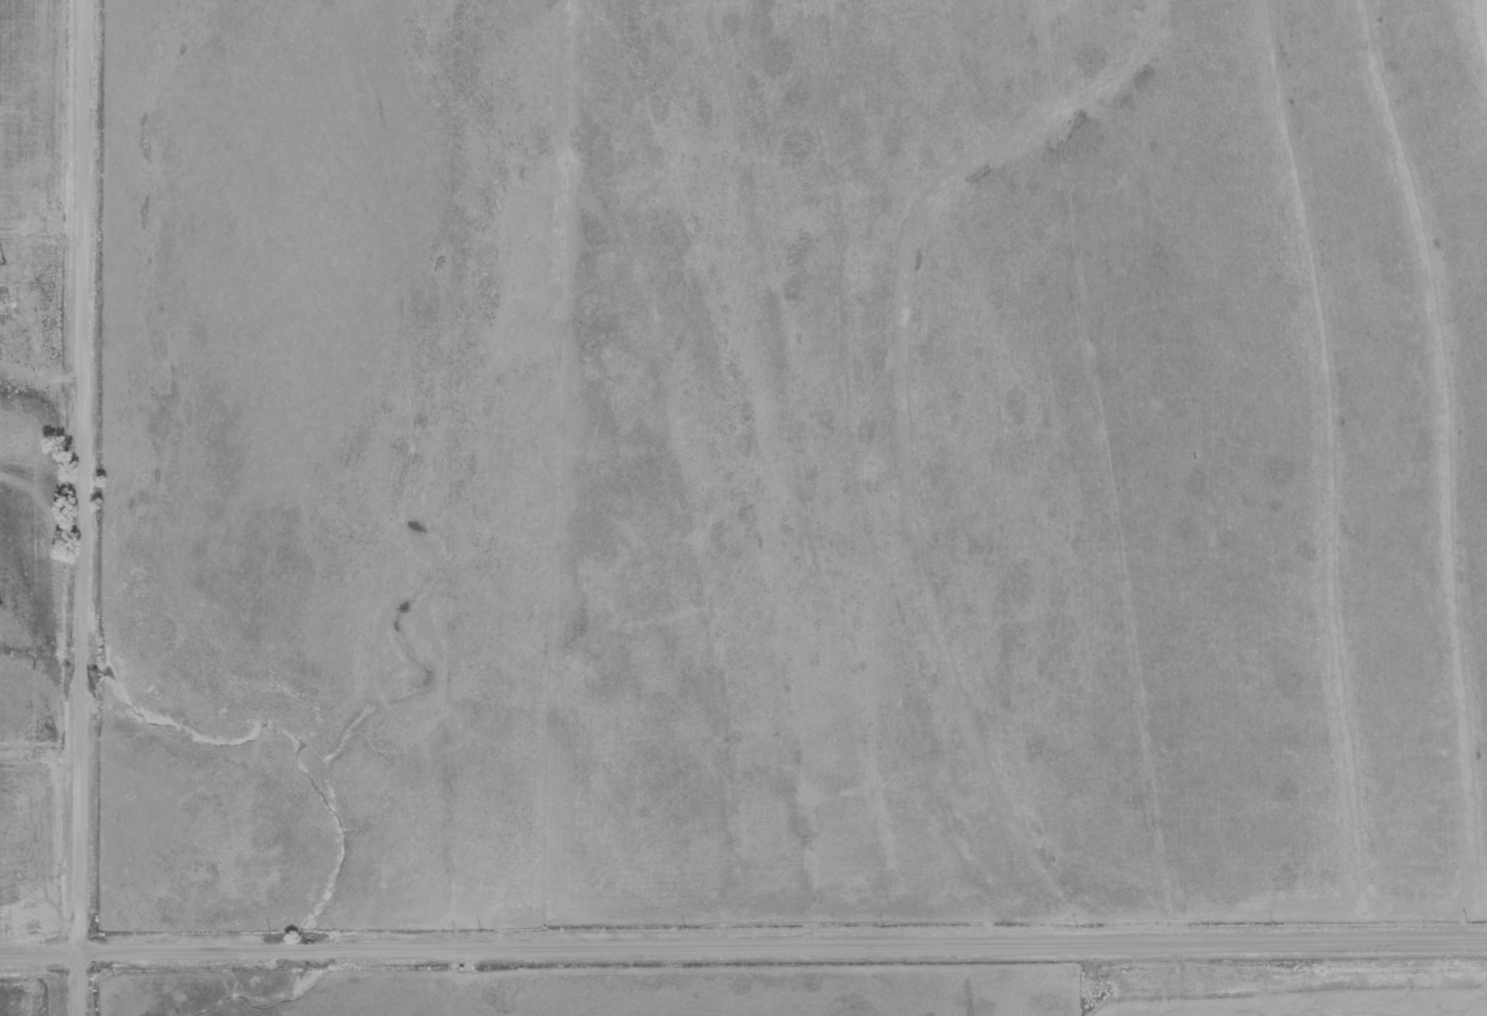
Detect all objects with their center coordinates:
power tower: (3, 263)
road: (85, 508)
road: (743, 944)

